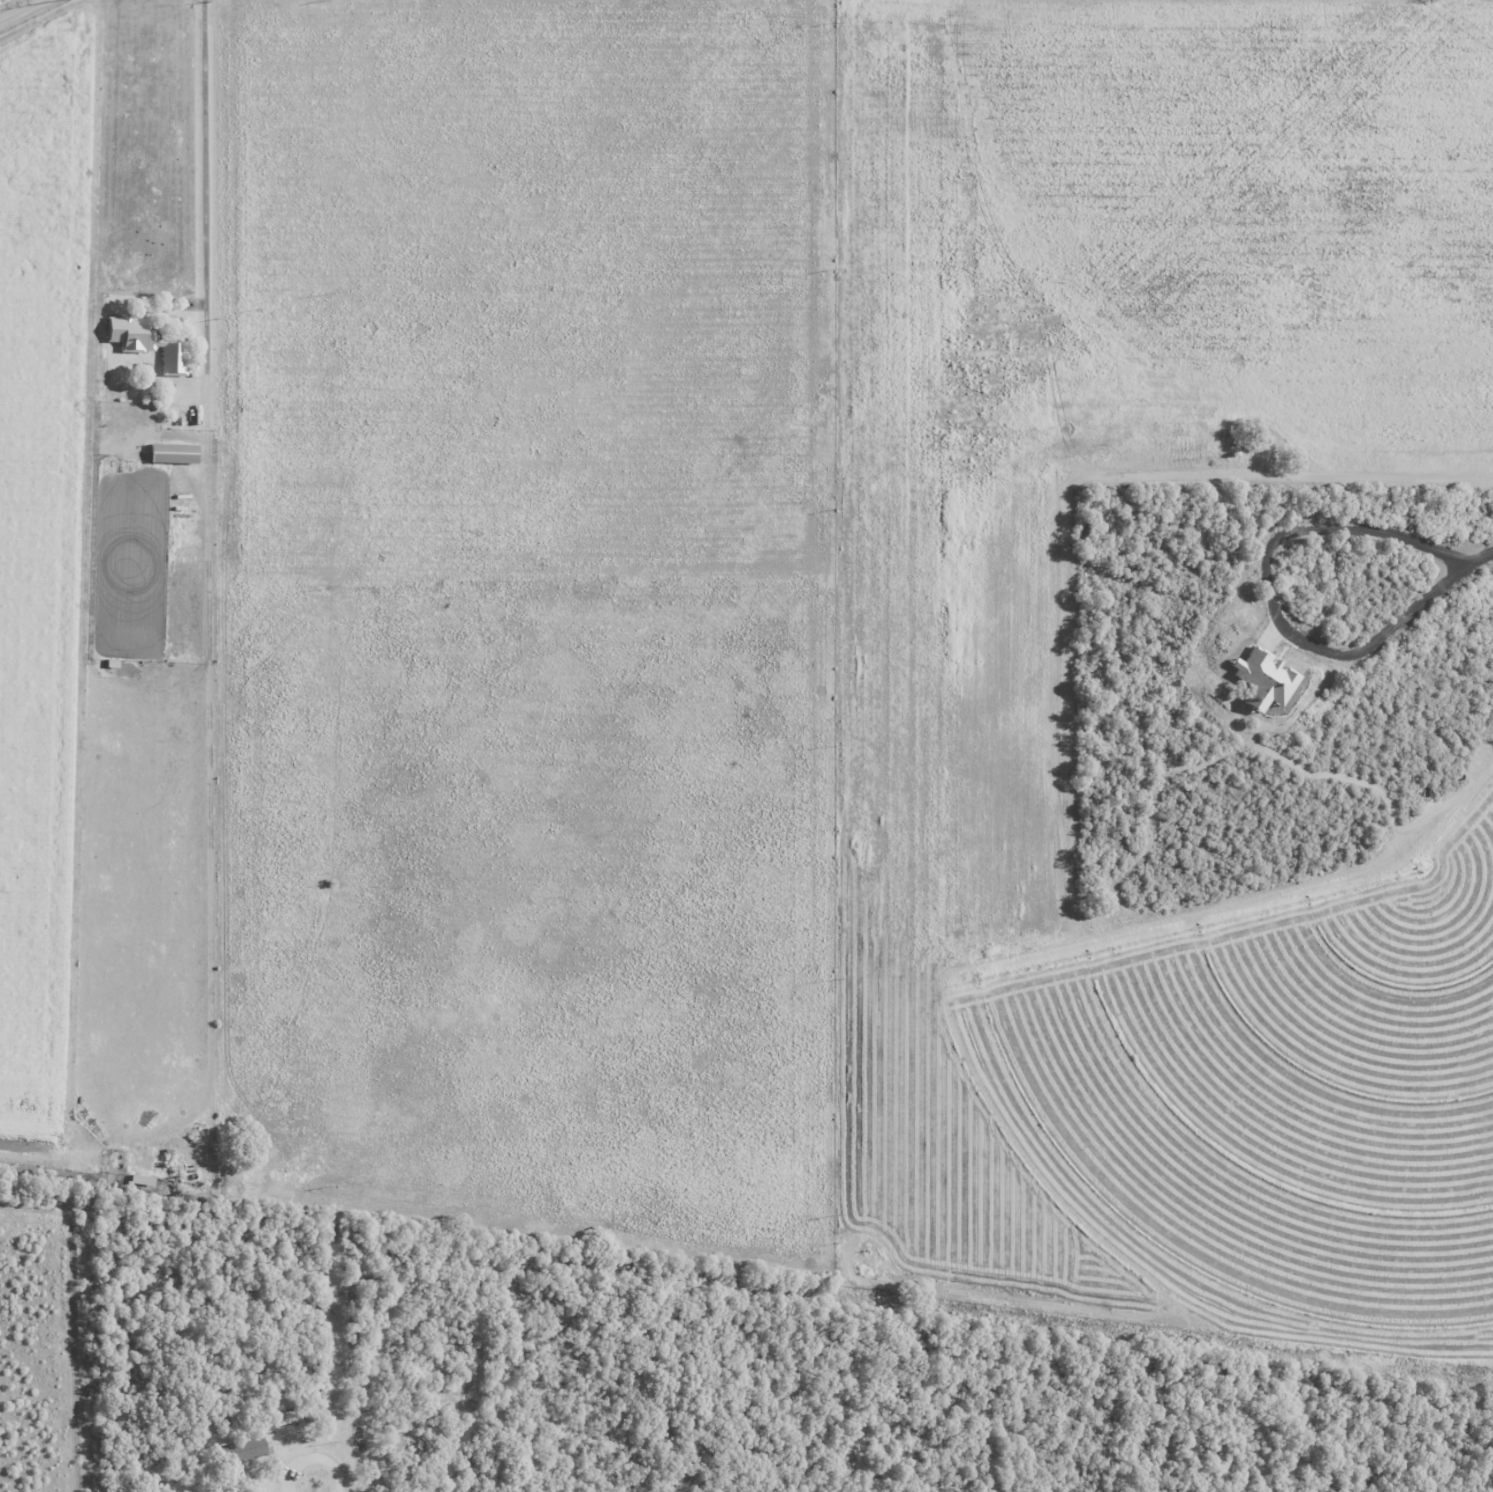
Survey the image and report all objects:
road: (18, 9)
road: (206, 194)
building: (155, 346)
building: (176, 454)
road: (1484, 557)
road: (1265, 597)
building: (1259, 680)
building: (144, 1181)
road: (862, 1326)
building: (244, 1451)
road: (314, 1461)

